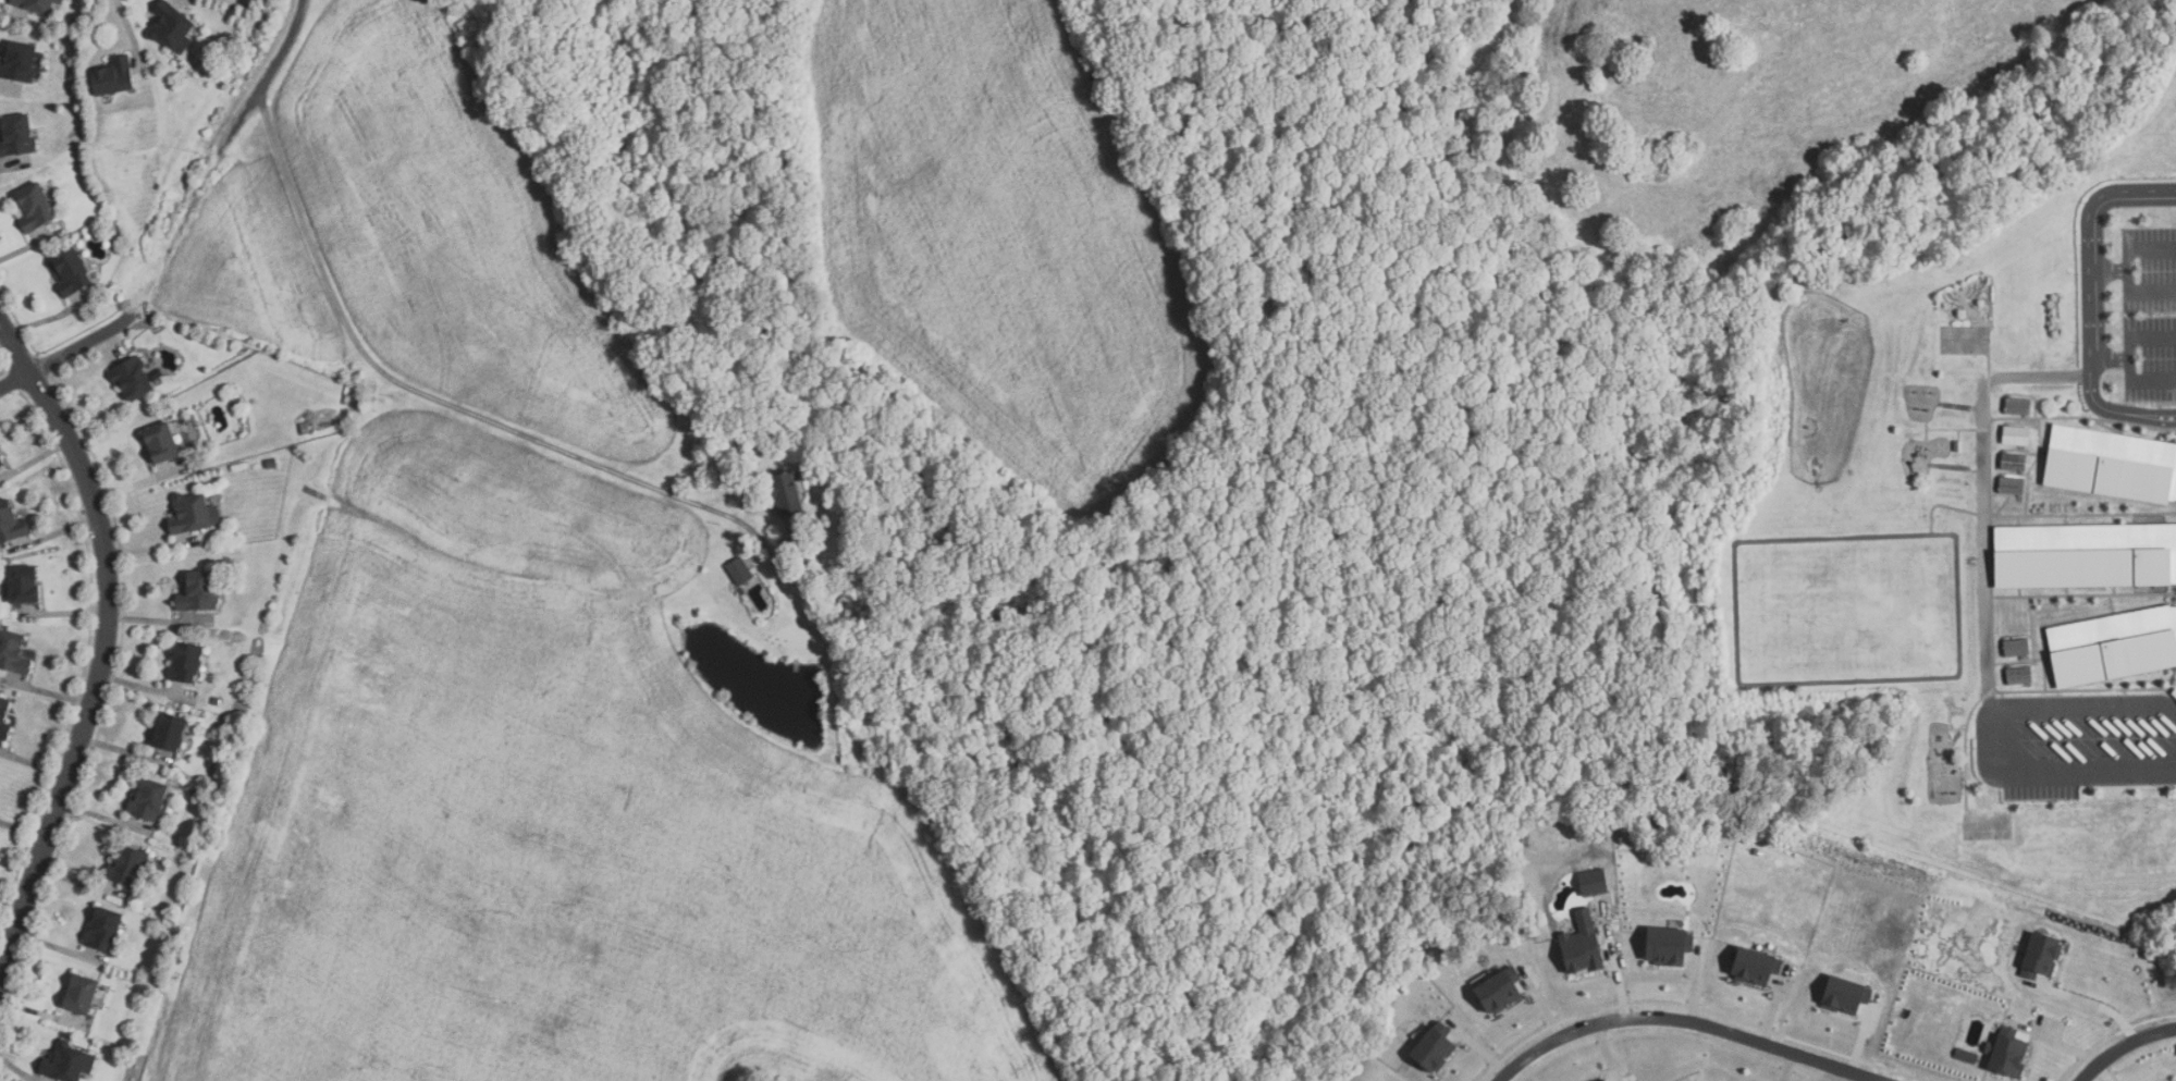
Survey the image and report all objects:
building: (35, 4)
building: (172, 27)
building: (21, 62)
building: (114, 77)
road: (266, 78)
building: (16, 135)
building: (36, 207)
road: (2094, 244)
road: (2113, 266)
road: (2131, 267)
parking lot: (2149, 270)
building: (71, 272)
road: (67, 353)
road: (2114, 355)
road: (2134, 355)
parking lot: (2150, 359)
building: (133, 380)
road: (426, 389)
road: (2094, 397)
building: (2015, 408)
road: (2149, 411)
road: (2148, 422)
building: (2013, 437)
building: (161, 443)
building: (1956, 446)
building: (2011, 463)
building: (1, 464)
building: (2110, 466)
building: (2008, 487)
building: (790, 493)
building: (192, 513)
building: (10, 525)
building: (2083, 557)
building: (741, 572)
building: (23, 586)
building: (199, 591)
track: (1849, 606)
building: (2111, 647)
road: (106, 648)
building: (2014, 648)
building: (13, 653)
building: (186, 663)
building: (2017, 676)
building: (4, 718)
building: (169, 732)
road: (2000, 738)
building: (148, 799)
building: (128, 869)
building: (1597, 882)
building: (103, 930)
building: (1585, 944)
building: (1672, 945)
building: (2042, 955)
building: (1759, 965)
building: (1503, 990)
building: (1848, 994)
building: (79, 996)
road: (2089, 1002)
road: (1686, 1020)
road: (2127, 1044)
building: (1437, 1048)
building: (2011, 1053)
building: (67, 1064)
road: (2083, 1077)
building: (1605, 1079)

